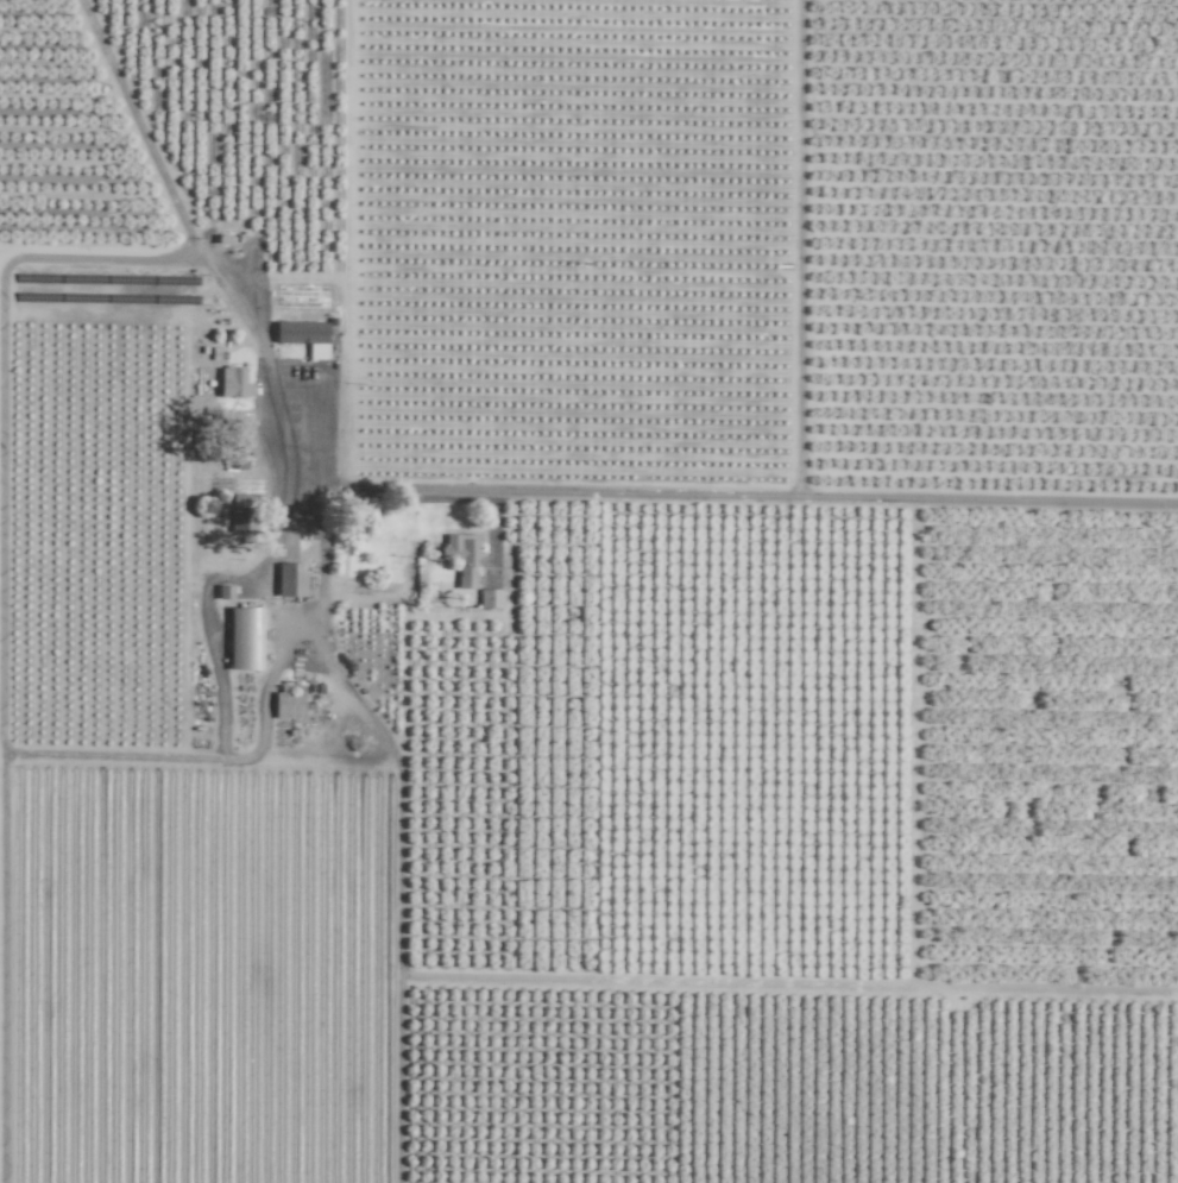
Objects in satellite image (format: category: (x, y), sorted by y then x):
road: (196, 247)
building: (300, 332)
building: (231, 382)
road: (670, 495)
building: (241, 512)
building: (462, 556)
building: (290, 579)
building: (489, 598)
building: (244, 638)
building: (288, 705)
road: (221, 753)

